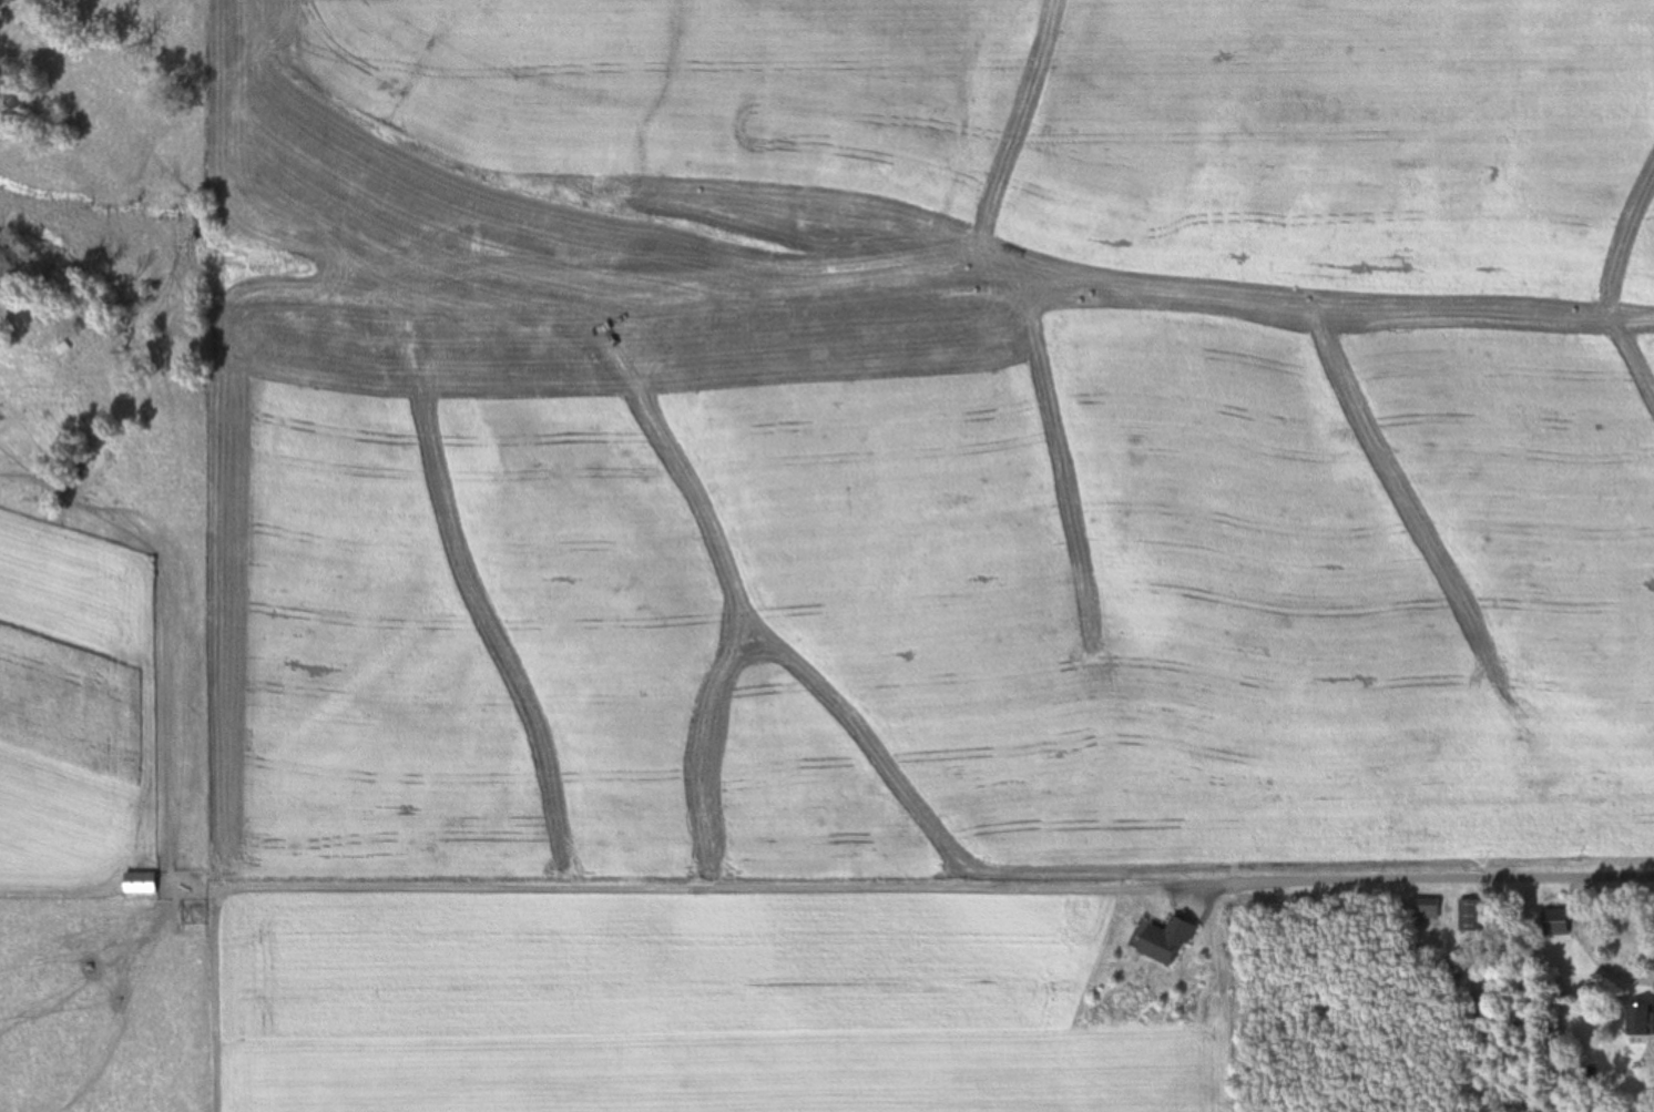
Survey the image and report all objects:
building: (139, 883)
road: (1419, 884)
building: (1427, 911)
building: (1471, 916)
building: (1555, 921)
building: (1162, 939)
building: (1640, 1022)

